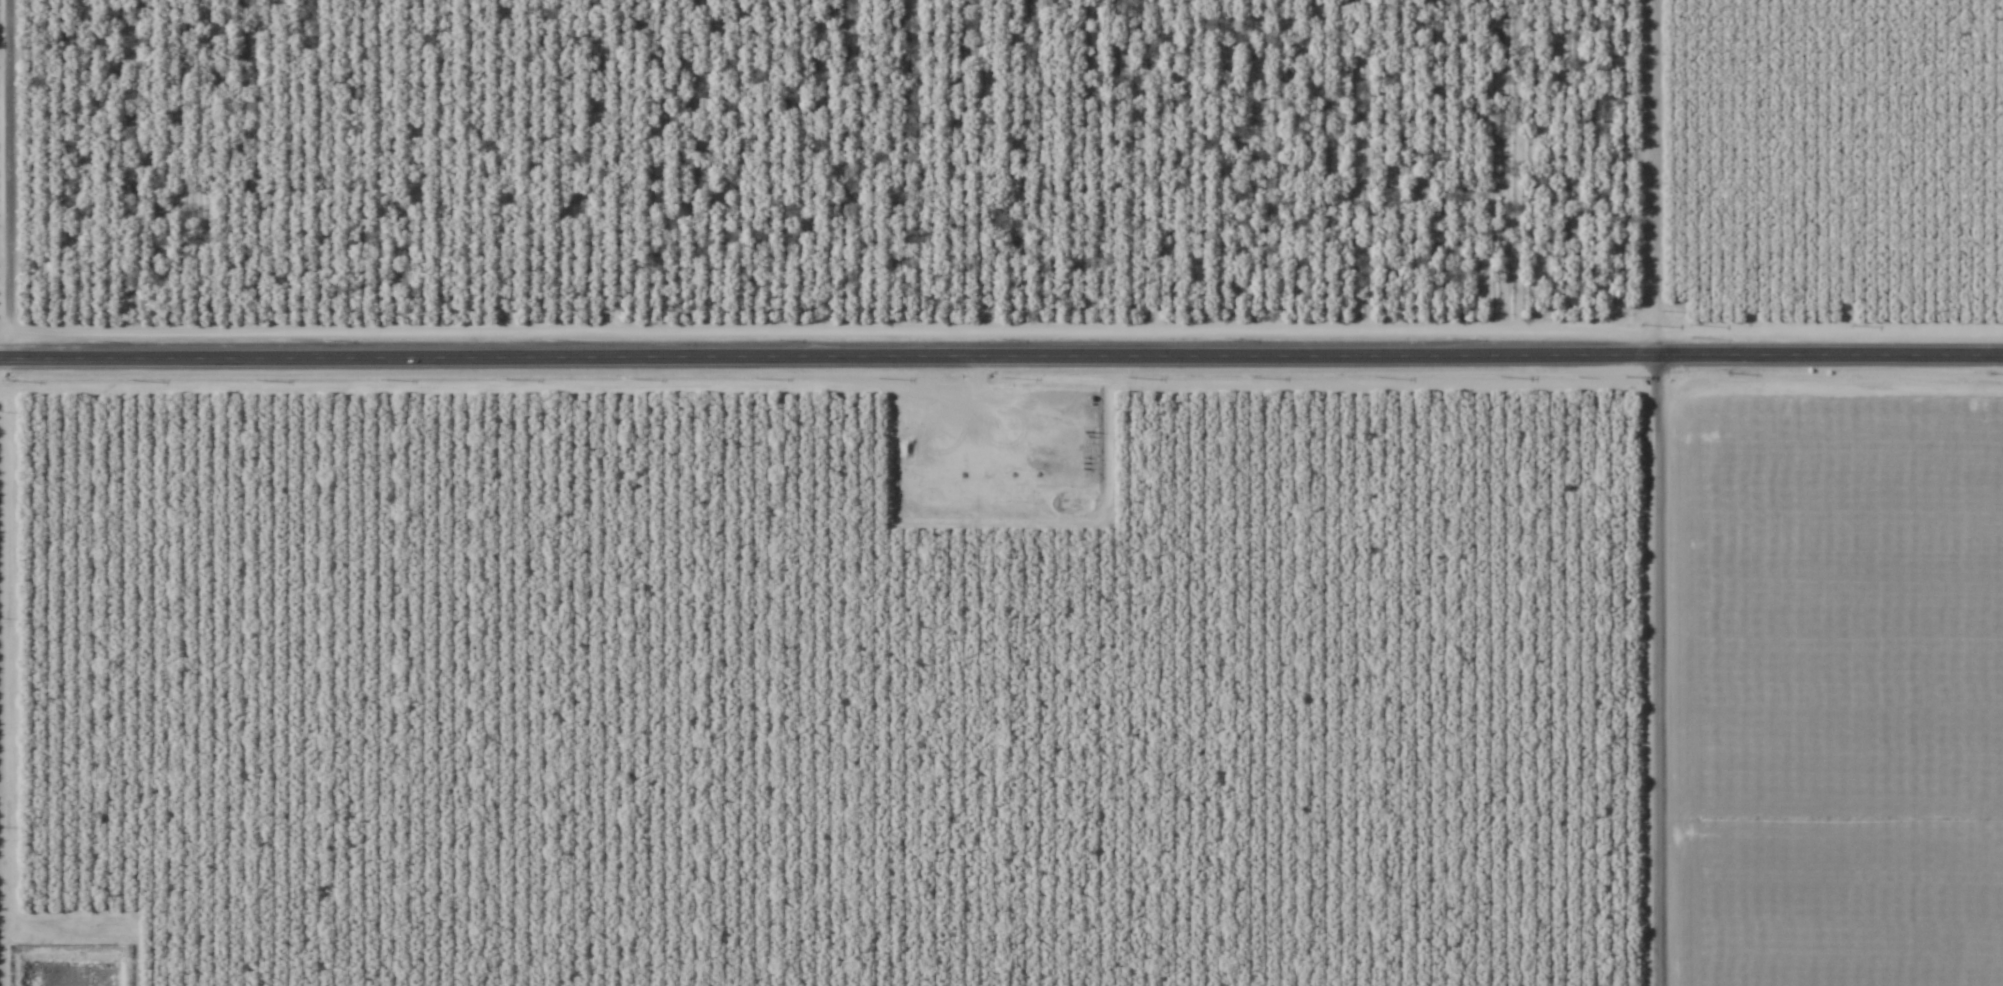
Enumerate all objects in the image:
road: (1001, 359)
road: (22, 492)
road: (1638, 492)
crop: (1001, 493)

